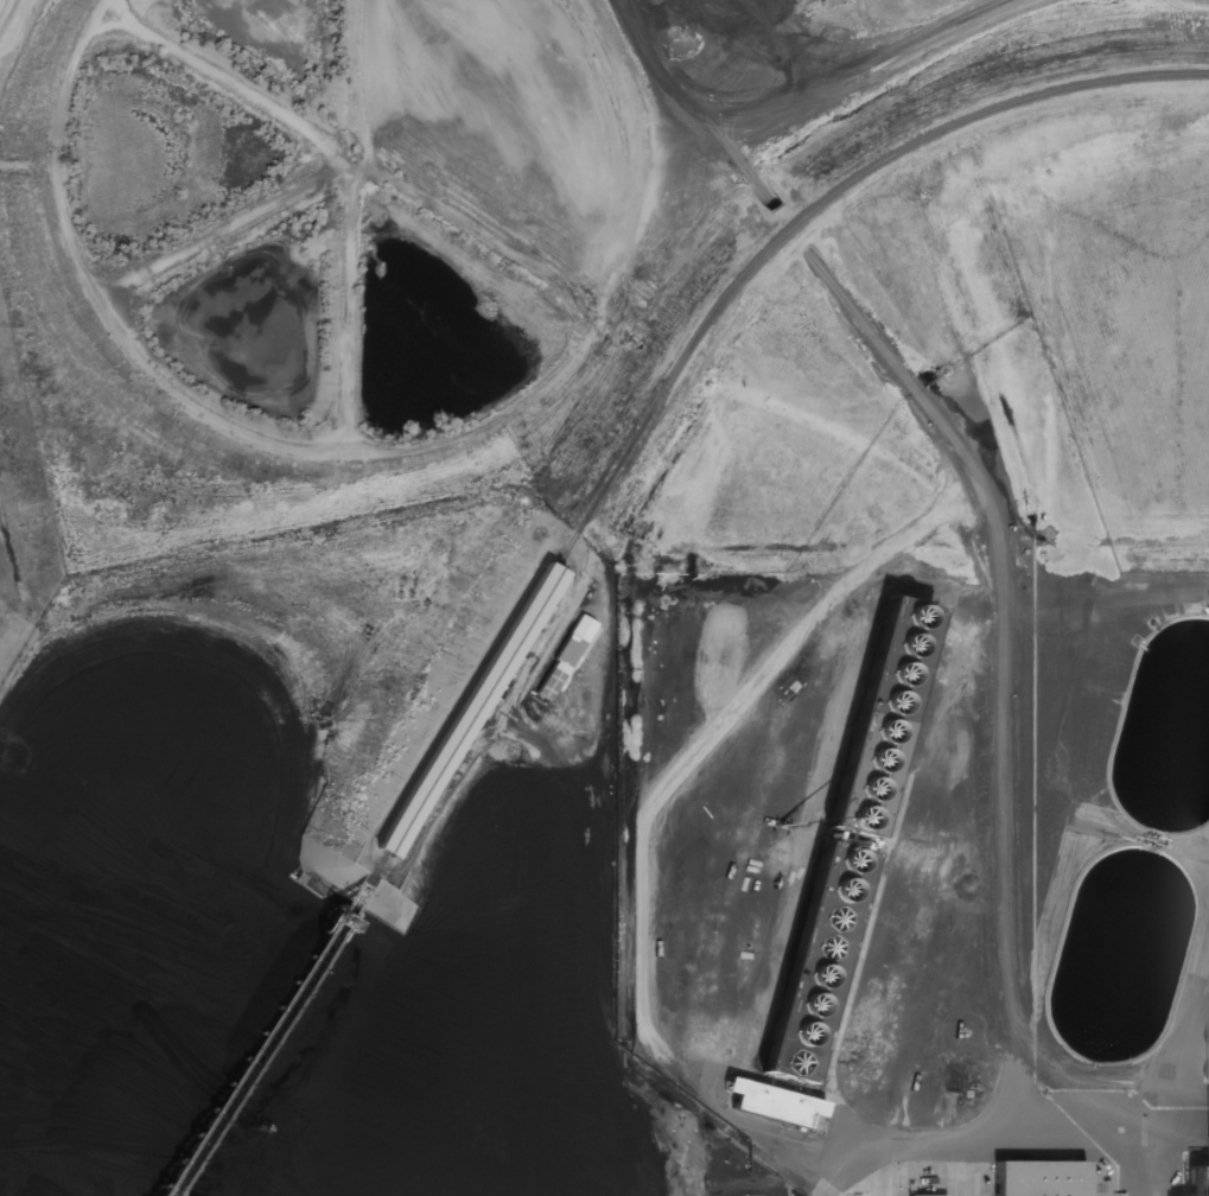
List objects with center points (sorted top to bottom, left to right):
road: (740, 164)
railway: (803, 214)
power plant: (604, 598)
building: (564, 656)
railway: (465, 711)
building: (466, 711)
road: (1004, 713)
building: (832, 836)
railway: (278, 1025)
building: (768, 1102)
building: (1031, 1178)
building: (924, 1195)

